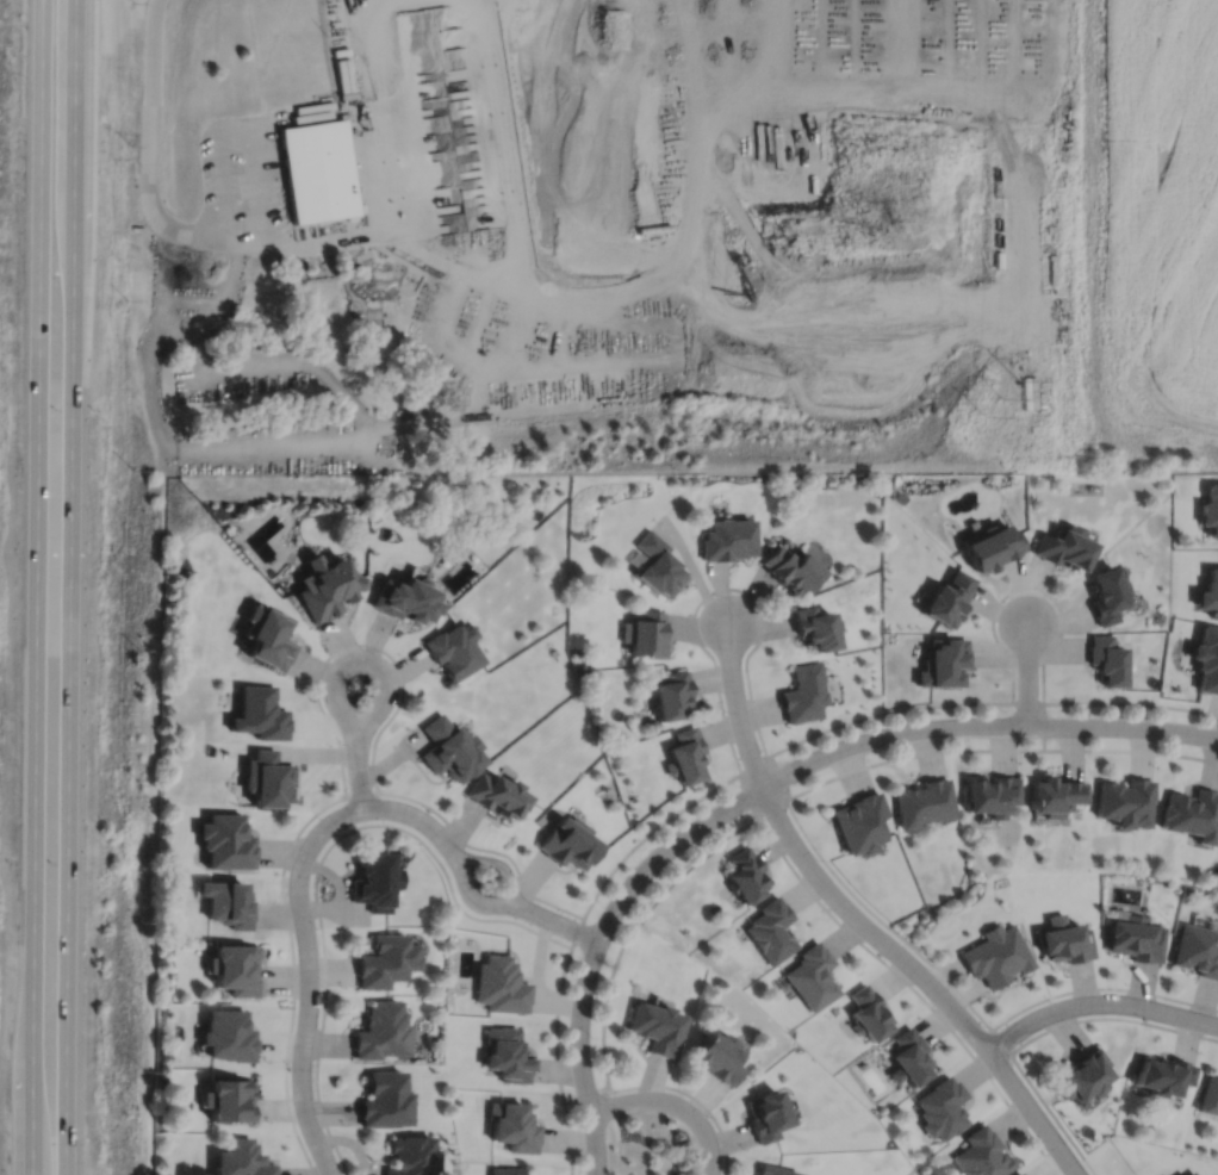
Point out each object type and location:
road: (73, 107)
road: (304, 112)
road: (150, 117)
road: (420, 162)
road: (372, 169)
building: (322, 170)
road: (225, 175)
road: (259, 187)
crop: (1150, 236)
road: (215, 242)
road: (325, 247)
road: (159, 285)
road: (220, 310)
road: (154, 400)
power tower: (1002, 400)
road: (352, 429)
building: (1210, 511)
road: (36, 529)
building: (727, 541)
building: (989, 548)
building: (1062, 549)
building: (657, 567)
road: (692, 568)
building: (788, 571)
road: (1026, 587)
road: (720, 589)
building: (324, 591)
building: (1210, 595)
building: (1105, 597)
building: (945, 601)
building: (402, 602)
building: (812, 630)
building: (645, 635)
building: (265, 640)
street lamp: (361, 648)
building: (450, 652)
building: (1105, 661)
building: (1206, 661)
building: (942, 665)
road: (335, 670)
road: (1027, 674)
road: (68, 695)
building: (802, 695)
road: (317, 698)
building: (671, 698)
road: (980, 703)
road: (735, 707)
building: (256, 716)
road: (984, 726)
street lamp: (342, 742)
road: (990, 750)
building: (448, 752)
building: (685, 759)
building: (265, 778)
building: (989, 792)
building: (1054, 794)
road: (360, 795)
building: (495, 795)
building: (1125, 800)
building: (922, 801)
building: (1192, 813)
road: (410, 814)
street lamp: (318, 817)
street lamp: (686, 820)
building: (857, 821)
building: (224, 840)
building: (567, 840)
road: (318, 863)
road: (498, 864)
building: (745, 874)
building: (372, 879)
road: (471, 899)
building: (225, 901)
street lamp: (603, 904)
street lamp: (514, 916)
road: (564, 924)
road: (632, 926)
street lamp: (315, 927)
building: (770, 930)
road: (577, 931)
building: (1136, 938)
building: (1064, 939)
road: (597, 945)
building: (1198, 950)
building: (995, 955)
building: (384, 959)
building: (232, 966)
building: (810, 976)
road: (922, 977)
road: (309, 978)
building: (499, 984)
road: (915, 990)
road: (968, 1002)
road: (1098, 1003)
building: (868, 1014)
building: (657, 1026)
building: (379, 1031)
road: (1039, 1034)
building: (226, 1036)
street lamp: (591, 1036)
road: (1000, 1040)
building: (505, 1055)
building: (719, 1056)
building: (908, 1057)
street lamp: (290, 1067)
building: (1082, 1075)
building: (1163, 1076)
building: (1210, 1095)
road: (586, 1096)
road: (694, 1098)
building: (226, 1099)
building: (383, 1099)
road: (675, 1103)
building: (942, 1108)
building: (763, 1115)
road: (32, 1117)
street lamp: (707, 1118)
building: (512, 1126)
road: (617, 1139)
building: (410, 1155)
building: (982, 1155)
street lamp: (584, 1157)
building: (238, 1160)
building: (504, 1170)
building: (771, 1170)
building: (1019, 1174)
building: (1193, 1174)

